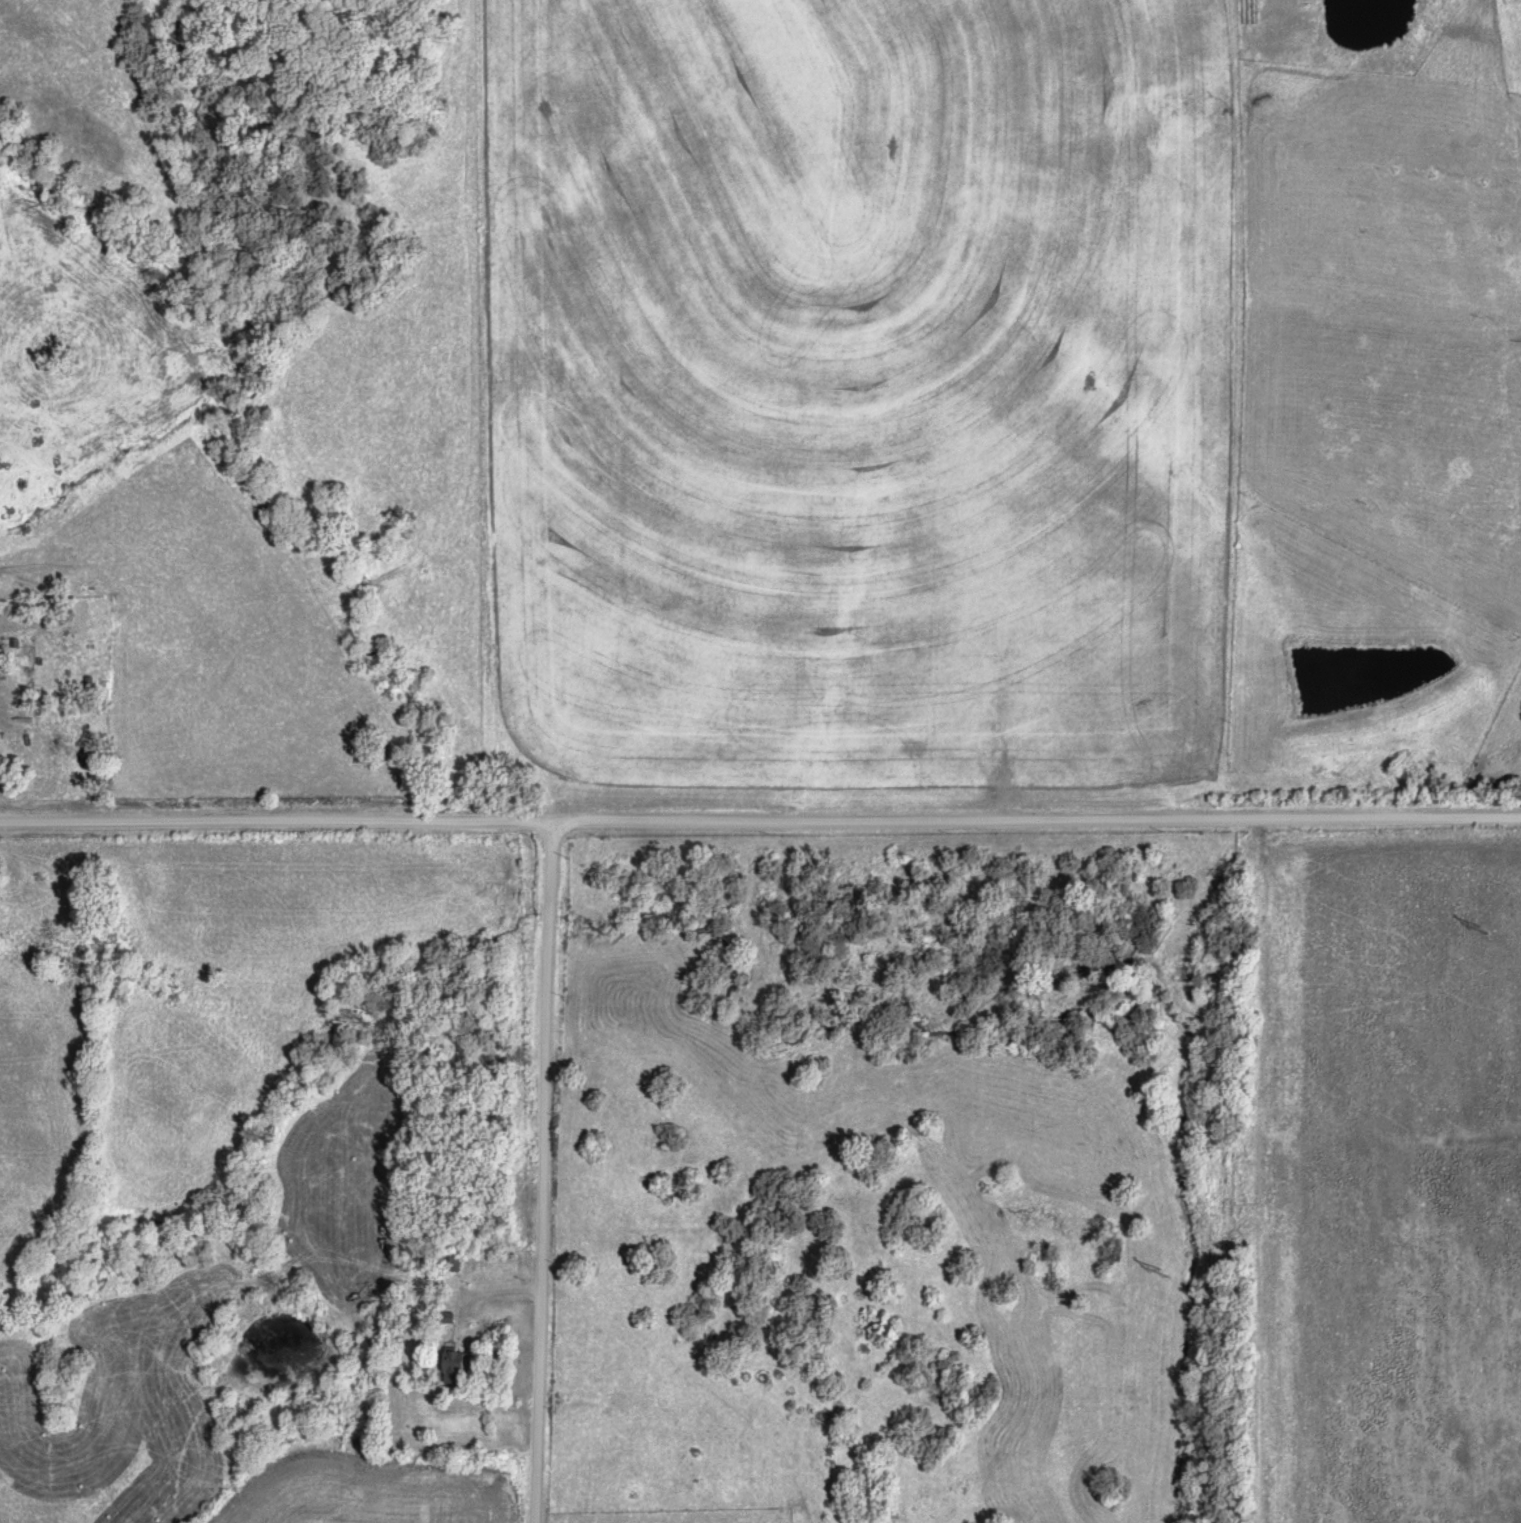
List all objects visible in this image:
road: (760, 815)
road: (544, 1169)
building: (449, 1262)
building: (453, 1364)

